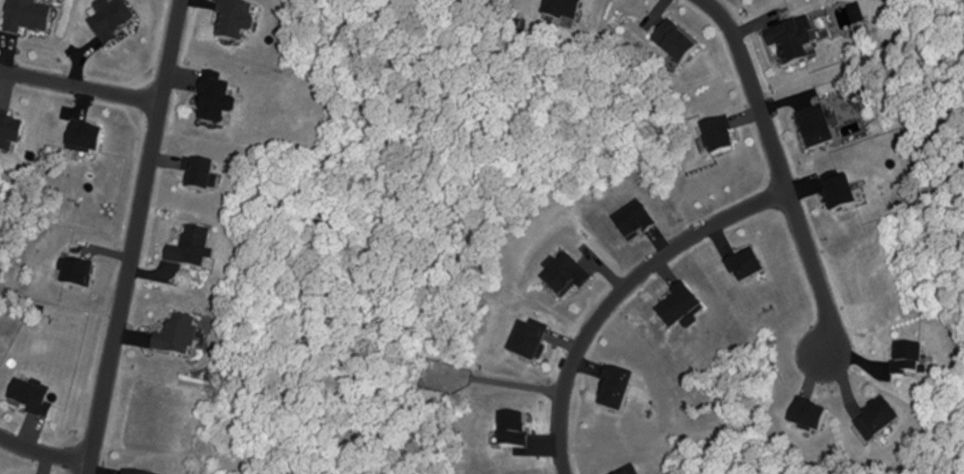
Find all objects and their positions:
road: (79, 87)
road: (780, 173)
road: (132, 237)
road: (619, 289)
road: (44, 448)

